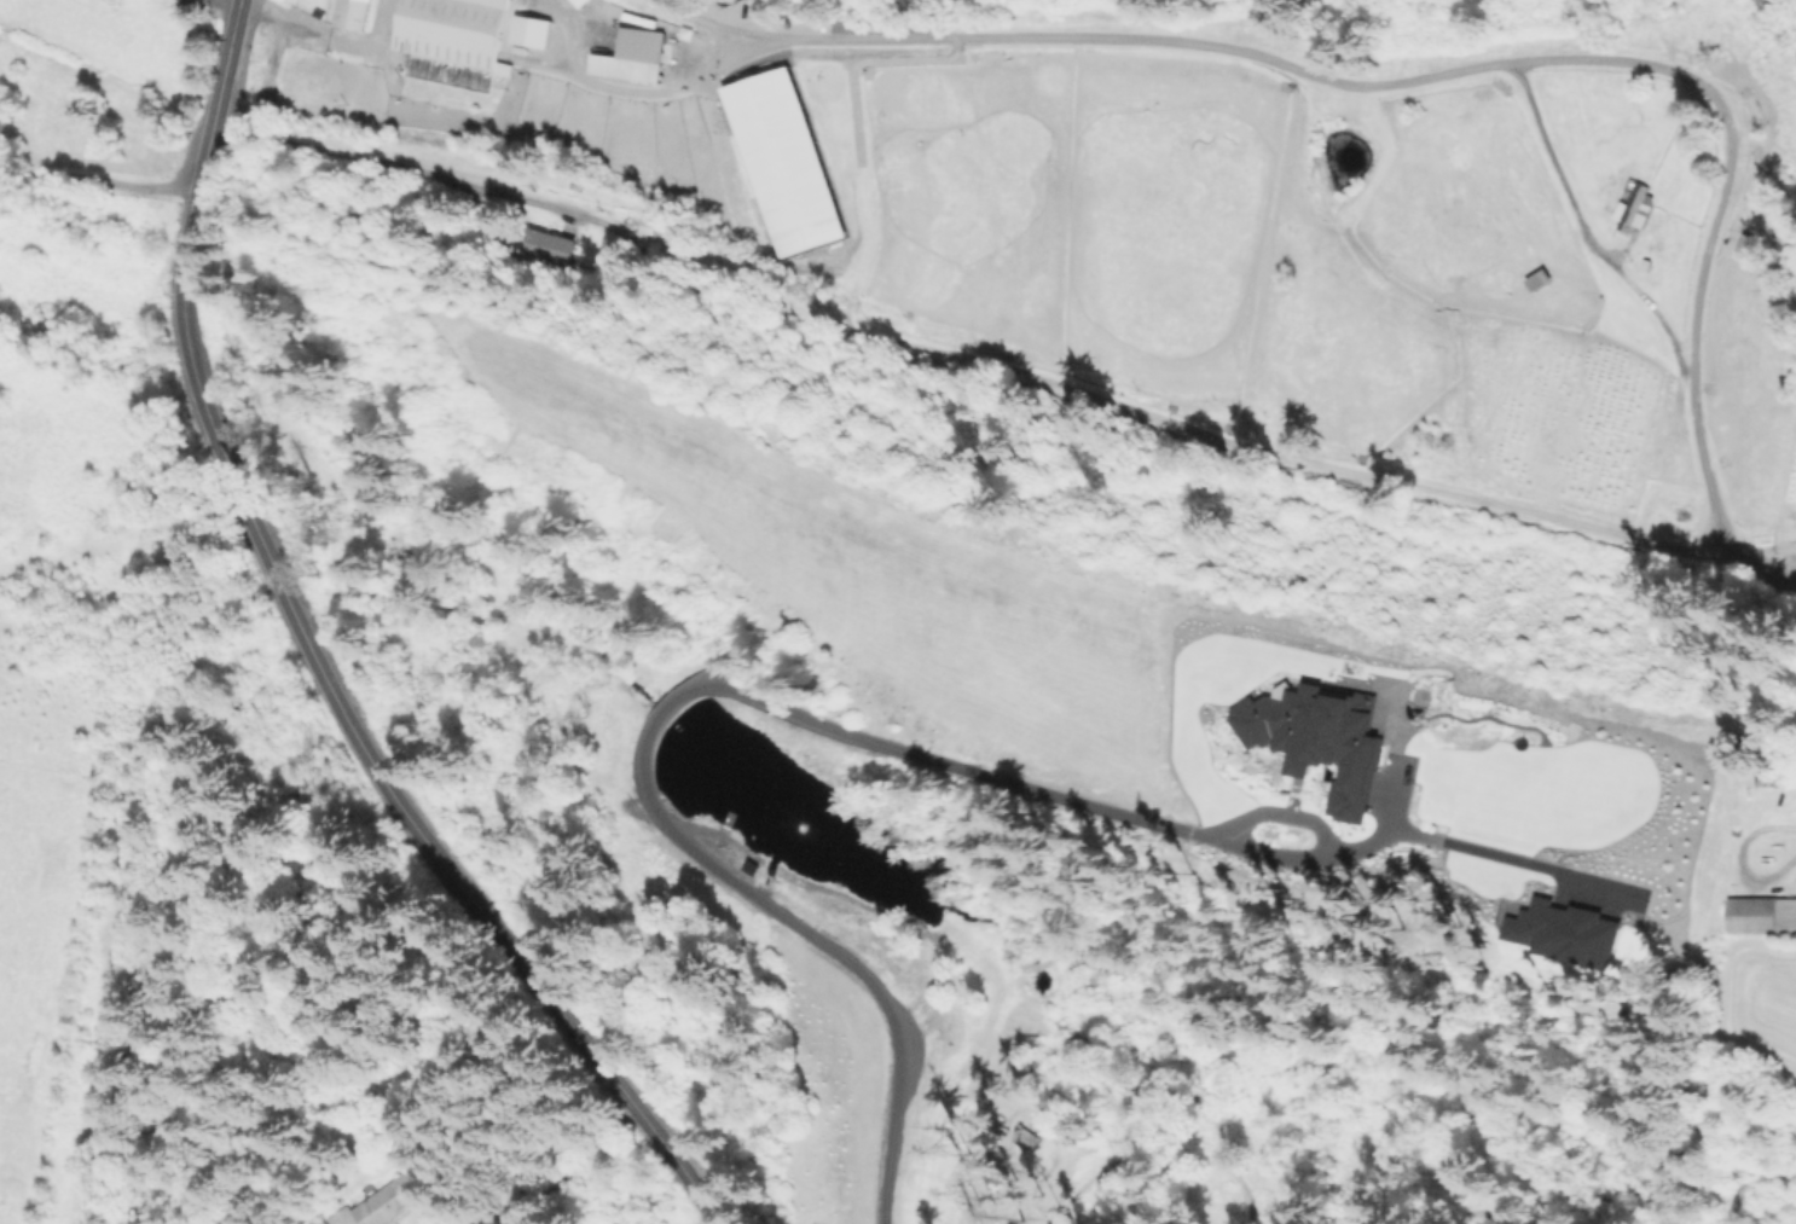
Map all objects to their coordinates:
building: (350, 13)
building: (454, 30)
building: (533, 31)
building: (635, 57)
road: (1485, 60)
road: (667, 91)
road: (1543, 143)
building: (784, 164)
road: (100, 185)
building: (1635, 209)
building: (549, 246)
building: (1647, 265)
road: (998, 372)
road: (319, 660)
road: (678, 698)
road: (978, 778)
building: (1707, 818)
road: (1739, 863)
building: (1759, 918)
road: (815, 939)
building: (1024, 1138)
road: (564, 1162)
road: (1749, 1182)
building: (383, 1200)

